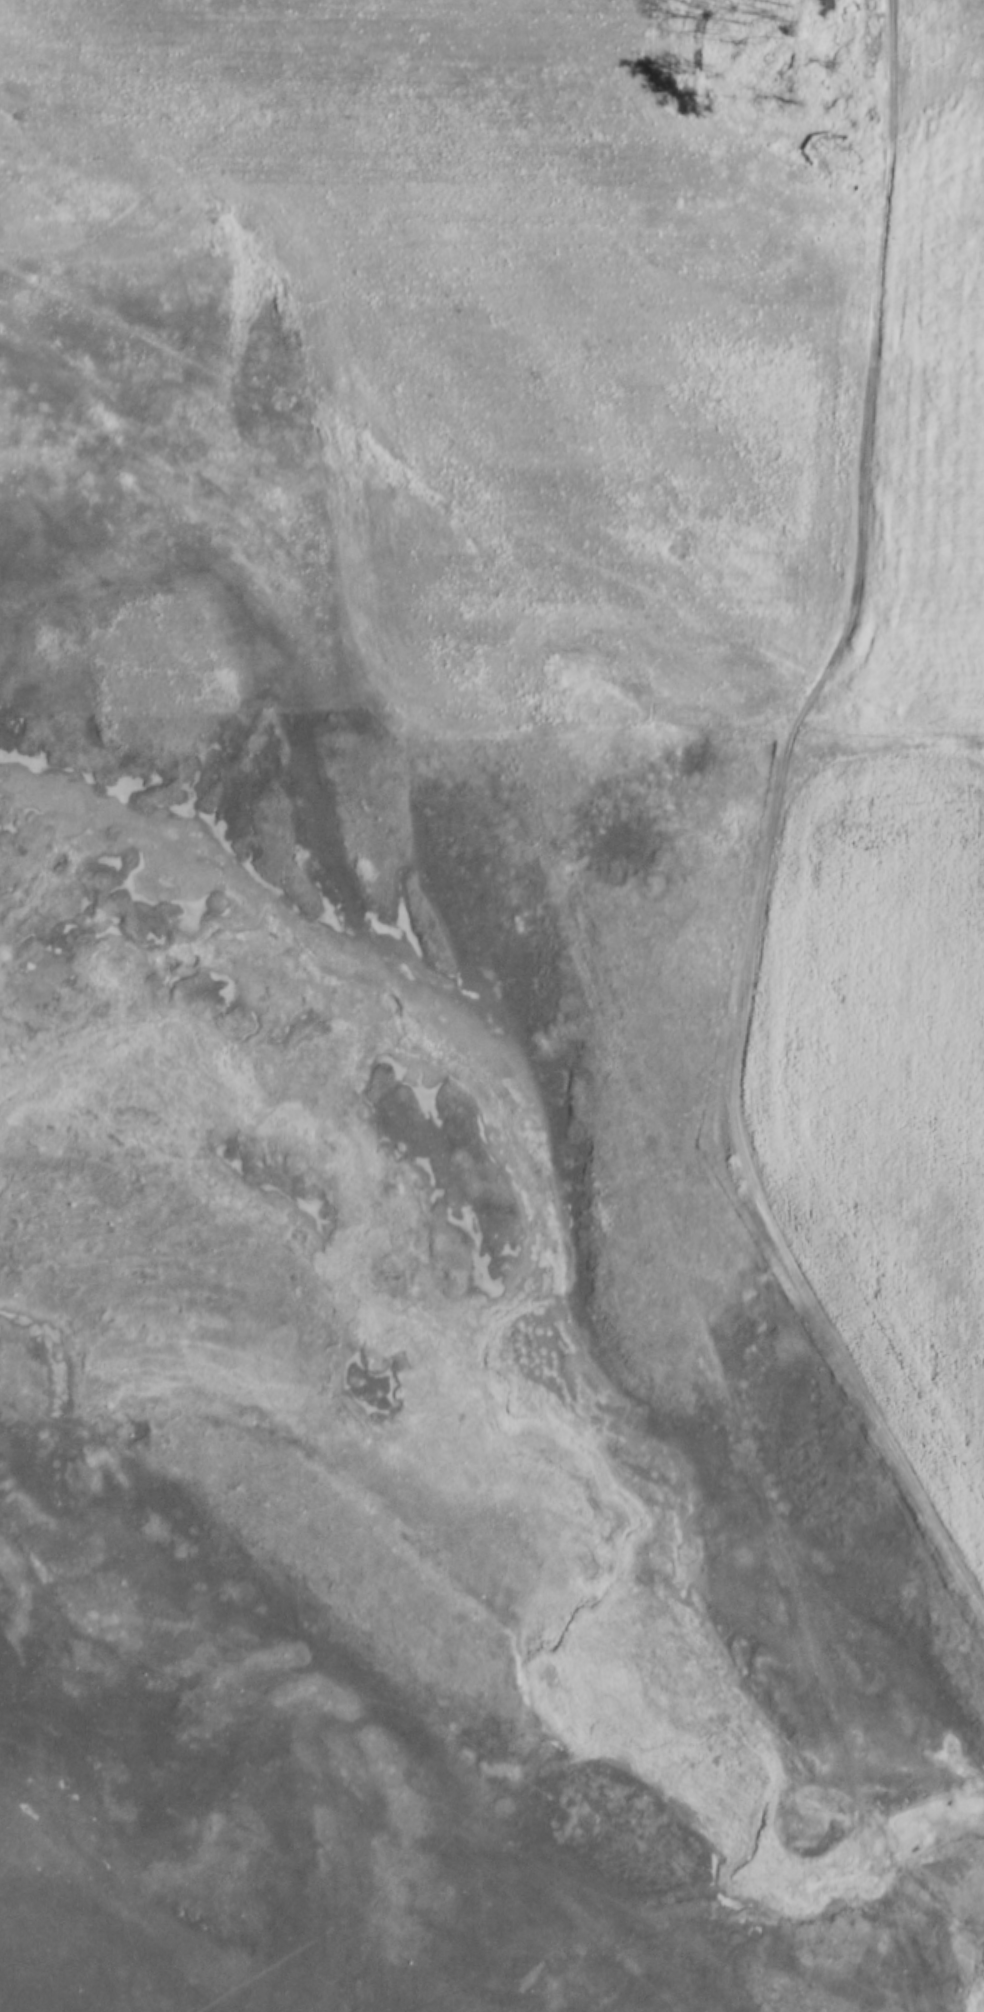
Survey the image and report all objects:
road: (775, 829)

